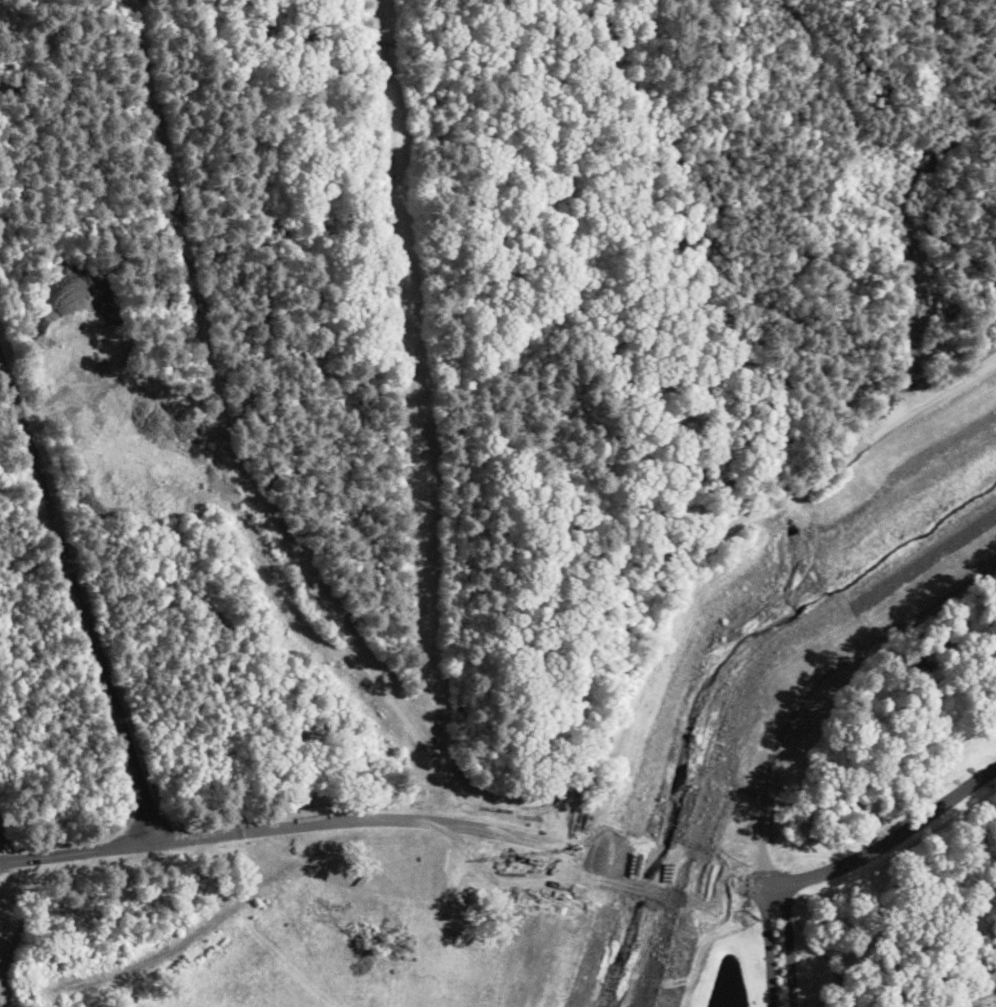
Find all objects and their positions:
road: (77, 606)
road: (814, 680)
road: (296, 826)
road: (868, 850)
road: (656, 867)
road: (788, 944)
road: (767, 945)
road: (966, 1002)
road: (980, 1002)

